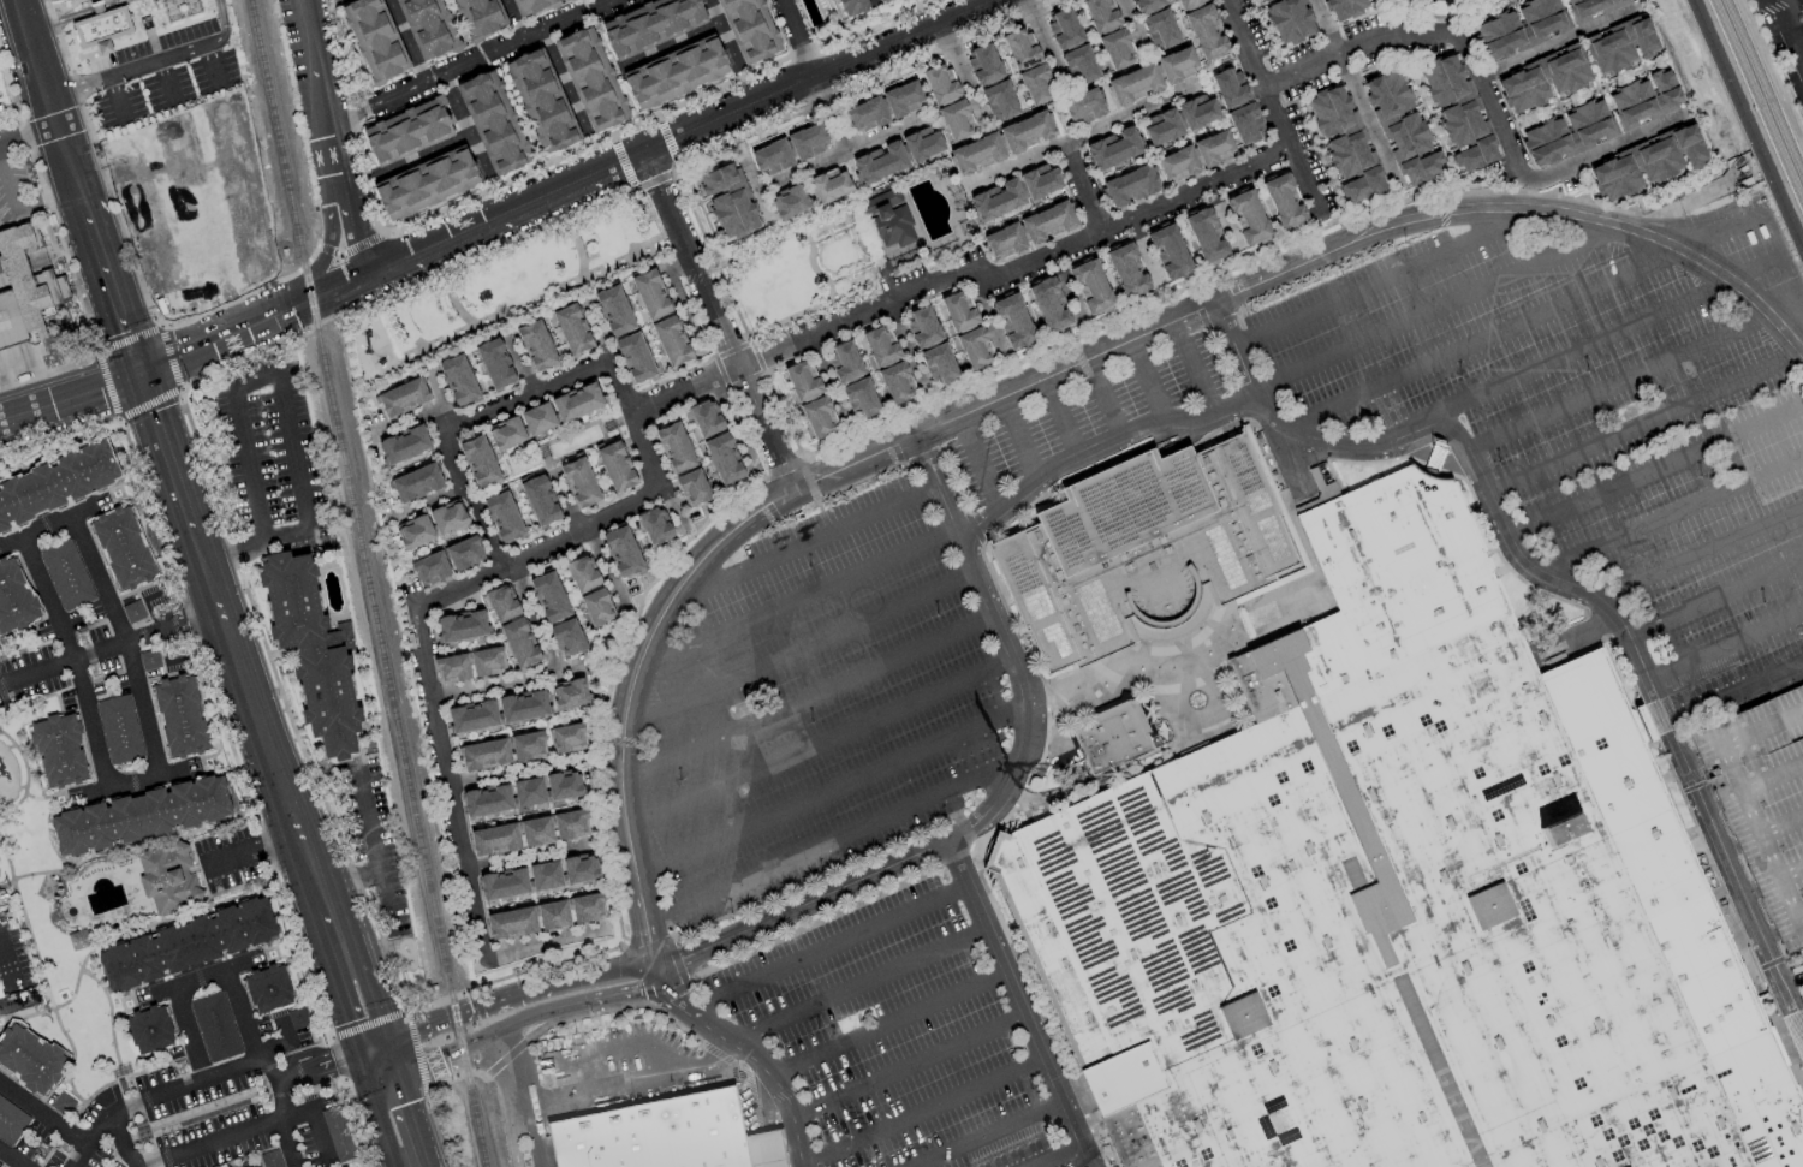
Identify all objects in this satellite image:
building: (567, 0)
building: (877, 1)
parking lot: (340, 2)
road: (873, 4)
building: (1188, 4)
building: (1146, 5)
building: (531, 6)
building: (850, 7)
building: (1343, 7)
building: (1590, 7)
park: (1445, 8)
building: (1100, 14)
road: (73, 16)
building: (480, 17)
building: (1287, 19)
road: (511, 20)
building: (649, 23)
building: (100, 26)
road: (225, 26)
building: (1522, 26)
building: (428, 28)
building: (1064, 28)
building: (1160, 28)
building: (749, 29)
road: (1132, 29)
road: (1789, 31)
building: (1206, 32)
road: (719, 36)
building: (375, 38)
road: (525, 38)
road: (795, 38)
road: (903, 38)
road: (403, 42)
road: (1559, 43)
building: (1620, 44)
road: (1043, 47)
road: (1357, 47)
road: (665, 48)
building: (1020, 48)
building: (1115, 48)
building: (983, 64)
building: (1177, 64)
road: (214, 65)
building: (1079, 65)
park: (1702, 67)
road: (126, 72)
building: (676, 72)
road: (962, 77)
building: (591, 79)
road: (168, 81)
building: (940, 83)
building: (1035, 83)
building: (1133, 84)
road: (563, 85)
railway: (1763, 87)
building: (1230, 88)
road: (1355, 96)
building: (903, 97)
building: (1644, 99)
road: (383, 100)
building: (999, 100)
road: (118, 101)
building: (1084, 105)
railway: (1756, 105)
road: (47, 106)
building: (1196, 111)
road: (1271, 111)
road: (1493, 111)
building: (1458, 113)
building: (867, 114)
road: (727, 115)
road: (829, 115)
building: (956, 119)
building: (493, 121)
building: (1245, 123)
railway: (1745, 125)
building: (1161, 126)
building: (1402, 127)
road: (463, 130)
building: (407, 131)
building: (1025, 131)
building: (1569, 132)
road: (28, 136)
road: (1082, 137)
road: (332, 138)
building: (807, 139)
building: (1344, 142)
building: (922, 144)
building: (1213, 147)
building: (1113, 148)
road: (1608, 149)
building: (976, 154)
road: (839, 155)
building: (770, 156)
road: (417, 157)
building: (879, 162)
building: (1646, 162)
building: (1177, 163)
building: (1040, 181)
building: (426, 183)
road: (751, 185)
building: (829, 185)
building: (1130, 185)
road: (1085, 189)
building: (996, 200)
building: (728, 201)
building: (1284, 201)
building: (789, 202)
road: (20, 204)
road: (525, 204)
road: (1677, 206)
building: (1248, 218)
building: (887, 219)
road: (1222, 221)
building: (1047, 222)
road: (1779, 234)
building: (1206, 236)
building: (1004, 240)
road: (331, 249)
building: (1168, 251)
road: (1144, 256)
building: (1127, 270)
park: (799, 273)
road: (1016, 273)
road: (1722, 278)
road: (361, 279)
road: (1388, 281)
building: (1091, 285)
building: (25, 290)
road: (1066, 291)
road: (112, 292)
park: (502, 292)
building: (650, 294)
road: (676, 303)
building: (1049, 304)
building: (614, 310)
road: (1438, 310)
building: (958, 312)
road: (986, 321)
building: (1013, 321)
road: (1527, 321)
road: (716, 322)
building: (923, 327)
building: (572, 329)
road: (1611, 335)
road: (225, 338)
road: (127, 339)
building: (671, 341)
building: (536, 345)
building: (880, 345)
building: (975, 347)
road: (904, 350)
road: (1236, 355)
road: (168, 357)
building: (635, 357)
road: (1088, 359)
building: (844, 362)
building: (495, 363)
building: (939, 363)
road: (516, 367)
road: (48, 368)
road: (1191, 369)
traffic signals: (141, 375)
building: (458, 380)
building: (802, 381)
building: (897, 382)
road: (1146, 382)
road: (826, 383)
road: (106, 385)
road: (1619, 386)
road: (244, 389)
road: (683, 393)
road: (444, 394)
building: (403, 397)
road: (619, 397)
building: (861, 397)
road: (528, 398)
road: (70, 399)
road: (1101, 399)
road: (148, 401)
building: (577, 401)
building: (819, 417)
building: (537, 418)
building: (706, 418)
road: (1058, 418)
road: (409, 424)
road: (734, 424)
road: (1646, 424)
building: (506, 434)
road: (1016, 440)
building: (404, 445)
building: (674, 447)
road: (167, 454)
parking lot: (273, 456)
building: (722, 458)
building: (478, 460)
road: (976, 465)
building: (615, 466)
road: (1655, 472)
building: (55, 483)
building: (416, 483)
building: (579, 483)
building: (692, 487)
road: (469, 500)
building: (540, 500)
road: (1492, 500)
road: (566, 502)
road: (428, 506)
building: (447, 517)
building: (504, 517)
road: (1671, 517)
road: (46, 524)
building: (654, 525)
building: (415, 531)
building: (123, 547)
road: (802, 548)
building: (621, 552)
building: (1141, 552)
building: (464, 553)
road: (236, 555)
road: (1701, 555)
building: (430, 568)
road: (608, 572)
building: (582, 573)
building: (66, 574)
railway: (368, 583)
building: (549, 596)
building: (14, 597)
road: (1715, 601)
building: (501, 602)
road: (796, 602)
building: (597, 607)
building: (132, 611)
road: (540, 621)
building: (462, 625)
building: (567, 637)
road: (124, 641)
building: (519, 642)
road: (108, 644)
road: (1725, 648)
road: (421, 651)
road: (796, 654)
building: (314, 655)
road: (73, 657)
building: (149, 659)
building: (487, 661)
building: (452, 668)
road: (513, 687)
building: (571, 693)
road: (1734, 695)
road: (804, 702)
fountain: (1195, 702)
building: (523, 705)
building: (179, 715)
building: (472, 716)
road: (256, 721)
building: (119, 730)
building: (567, 738)
building: (1109, 739)
building: (528, 745)
road: (816, 748)
building: (59, 750)
building: (484, 754)
road: (520, 774)
road: (126, 781)
building: (563, 786)
building: (529, 791)
road: (827, 794)
road: (998, 798)
building: (487, 800)
building: (1765, 802)
parking lot: (1765, 802)
building: (141, 815)
building: (570, 823)
road: (623, 823)
building: (536, 830)
building: (494, 839)
road: (829, 846)
road: (255, 850)
road: (377, 851)
road: (529, 859)
building: (579, 868)
building: (545, 875)
building: (167, 876)
road: (351, 881)
building: (504, 883)
building: (1399, 903)
building: (587, 907)
building: (553, 915)
building: (511, 923)
road: (543, 942)
building: (186, 943)
road: (825, 949)
road: (202, 976)
road: (8, 977)
road: (350, 978)
road: (1792, 978)
building: (268, 988)
road: (856, 988)
road: (512, 998)
road: (579, 1004)
road: (1013, 1006)
road: (242, 1014)
building: (298, 1018)
road: (704, 1025)
building: (214, 1026)
road: (885, 1026)
road: (1802, 1026)
building: (149, 1029)
road: (191, 1031)
traffic signals: (374, 1054)
building: (29, 1059)
road: (436, 1059)
road: (506, 1060)
road: (325, 1068)
road: (905, 1070)
road: (188, 1083)
road: (623, 1083)
road: (276, 1085)
building: (63, 1103)
road: (389, 1111)
road: (789, 1115)
road: (921, 1115)
road: (43, 1117)
building: (11, 1121)
road: (528, 1127)
road: (511, 1129)
building: (337, 1133)
building: (661, 1137)
road: (989, 1137)
road: (94, 1139)
road: (123, 1139)
road: (209, 1141)
road: (286, 1142)
road: (1055, 1157)
road: (11, 1159)
building: (270, 1159)
building: (0, 1166)

